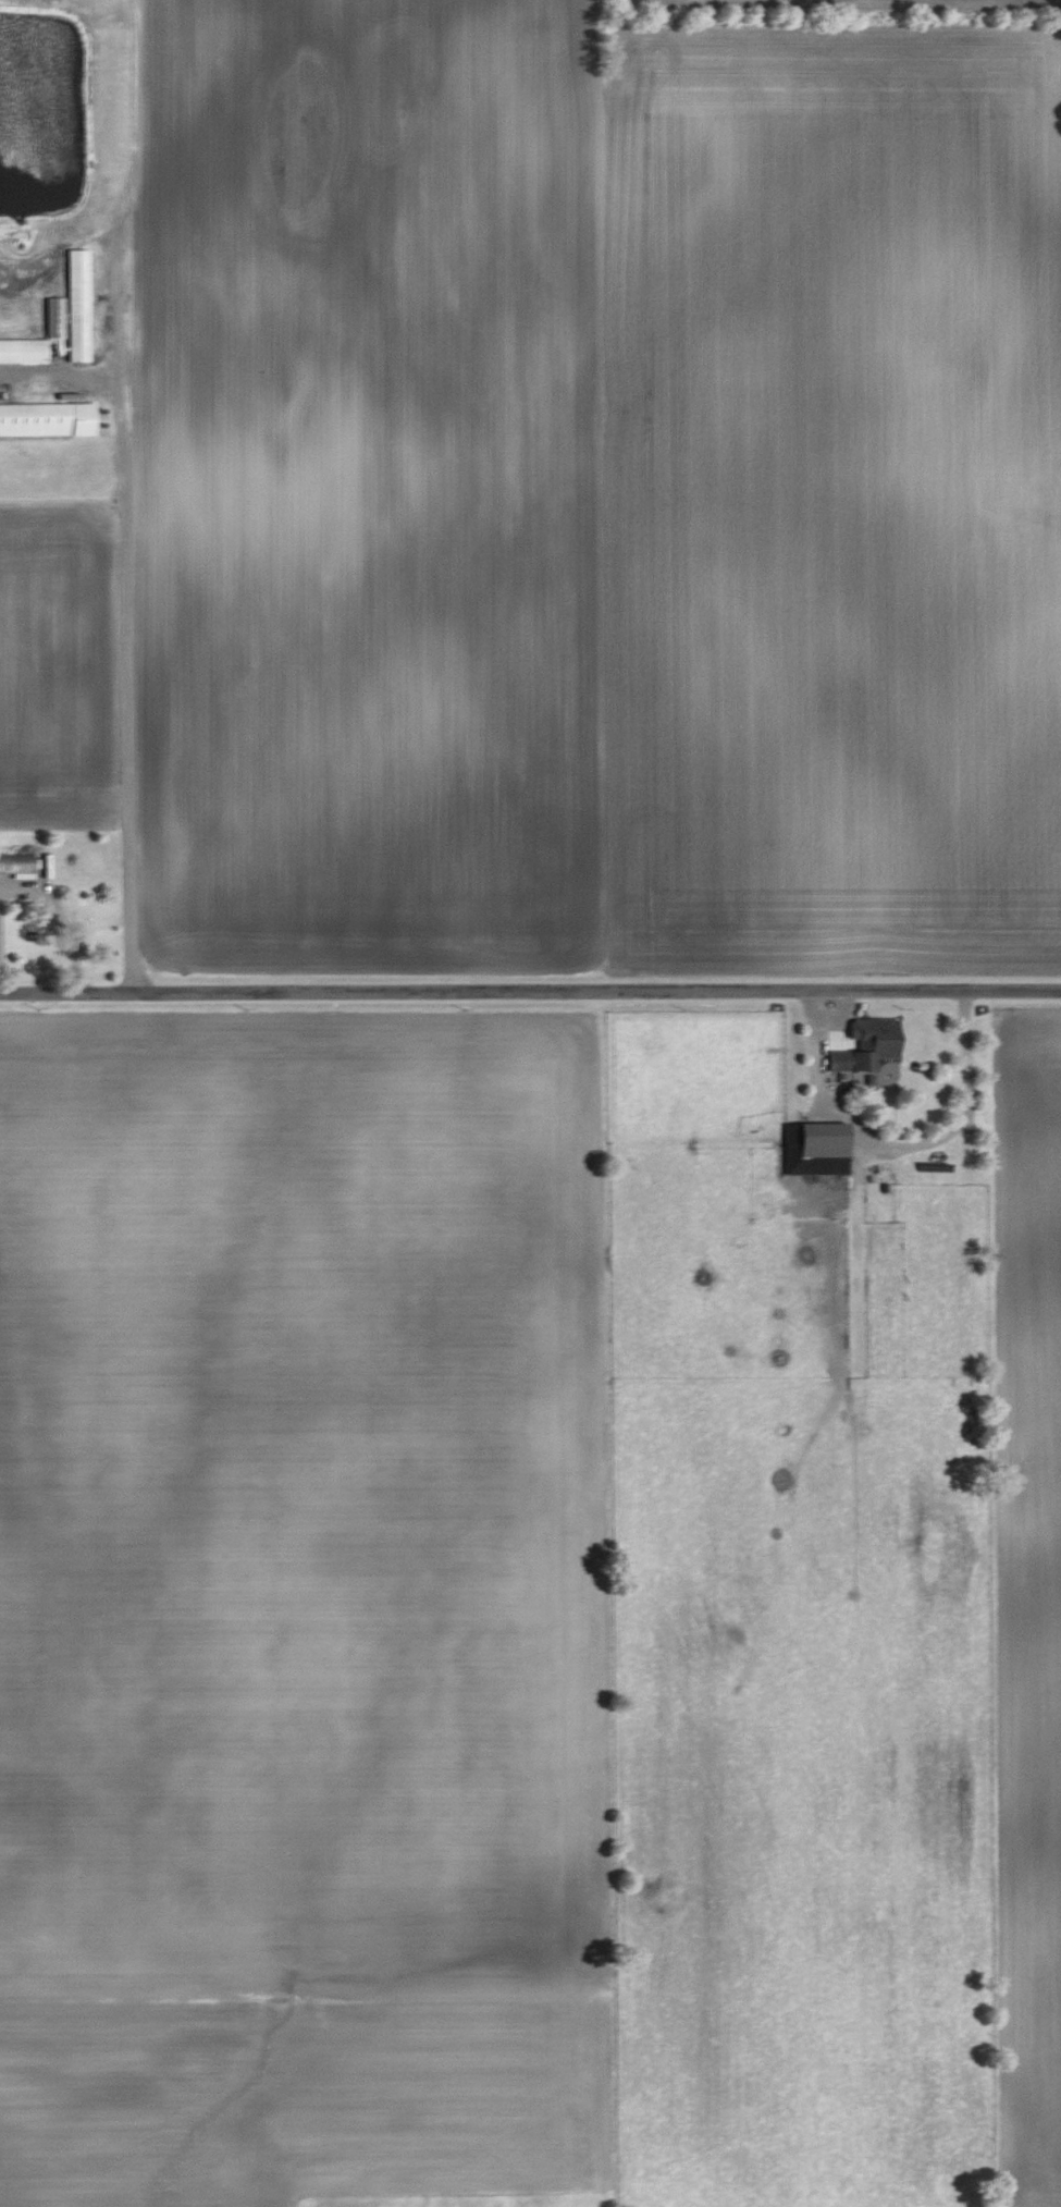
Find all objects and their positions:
building: (78, 304)
building: (38, 339)
building: (47, 418)
road: (134, 625)
building: (17, 865)
road: (30, 875)
road: (530, 993)
building: (867, 1044)
building: (815, 1148)
road: (903, 1148)
building: (884, 1170)

